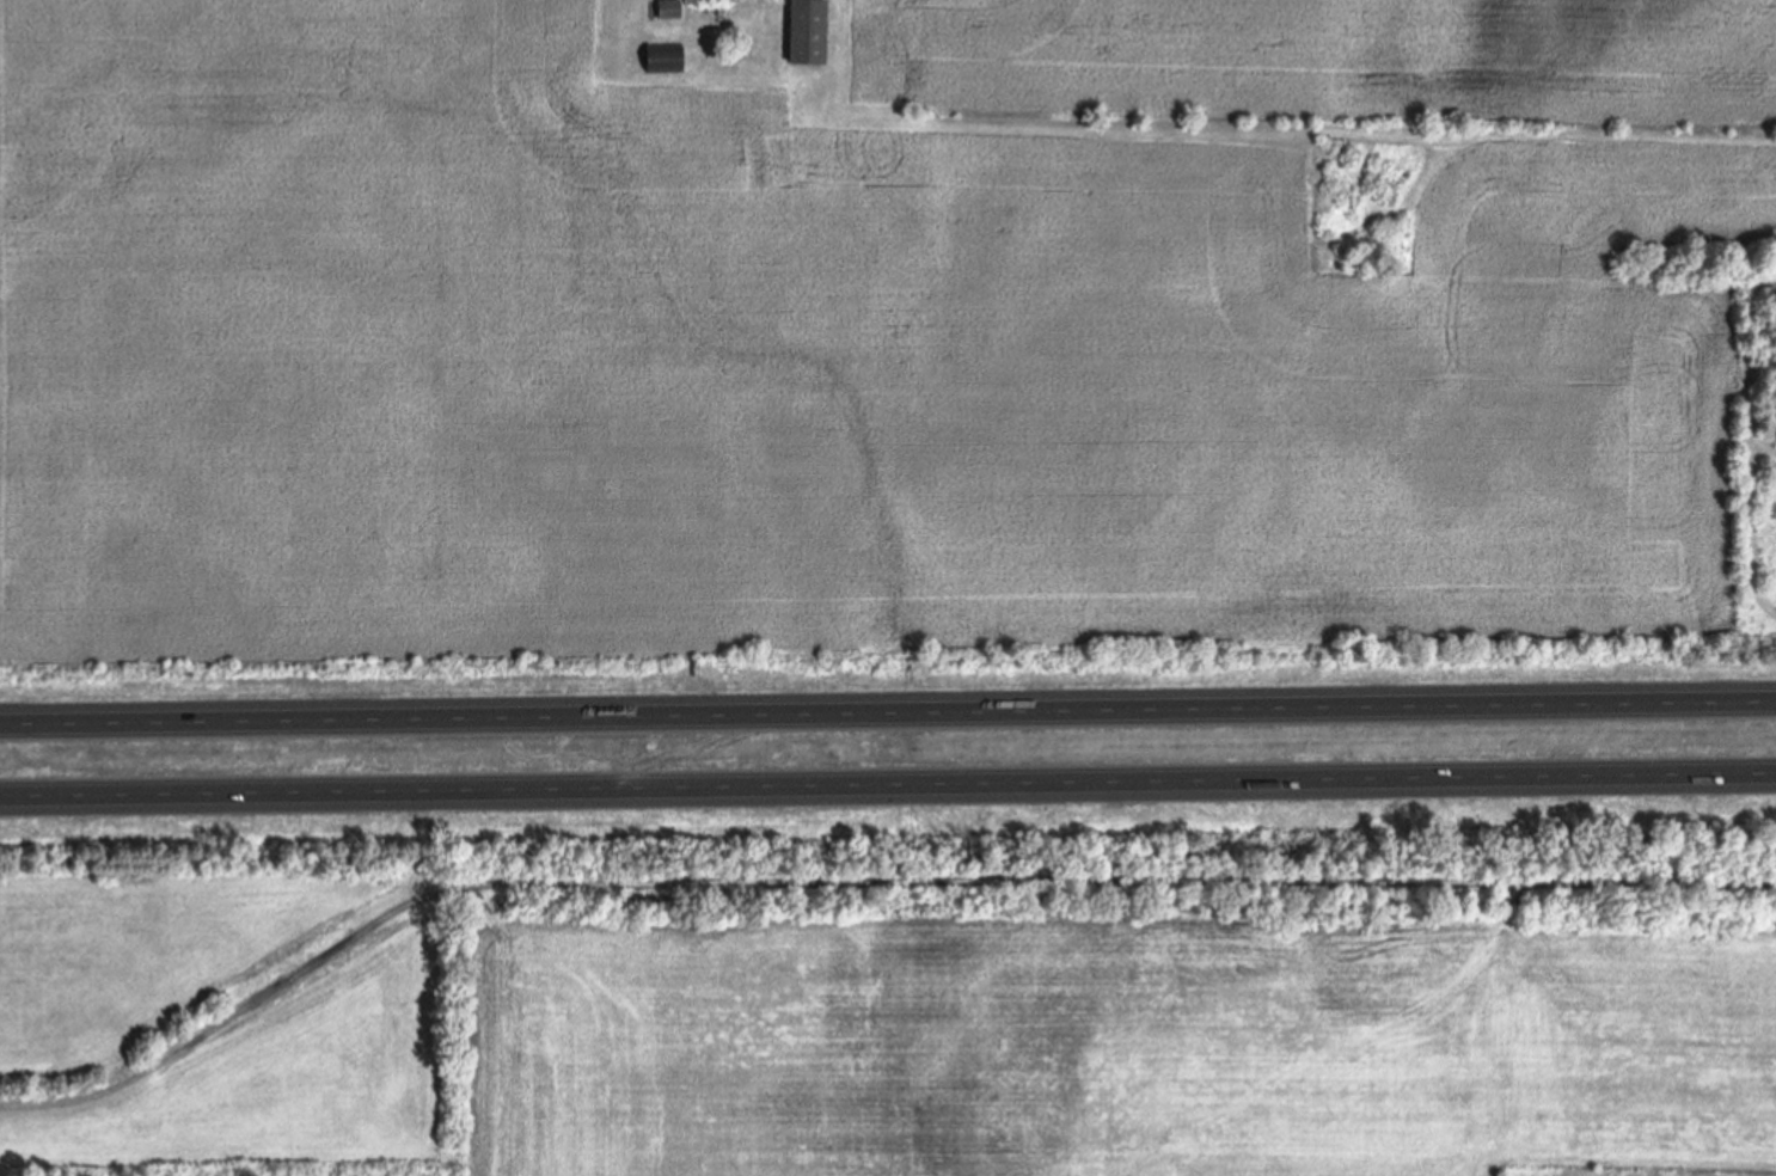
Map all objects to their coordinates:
building: (686, 0)
building: (666, 8)
building: (803, 31)
crop: (876, 331)
road: (888, 710)
road: (888, 785)

